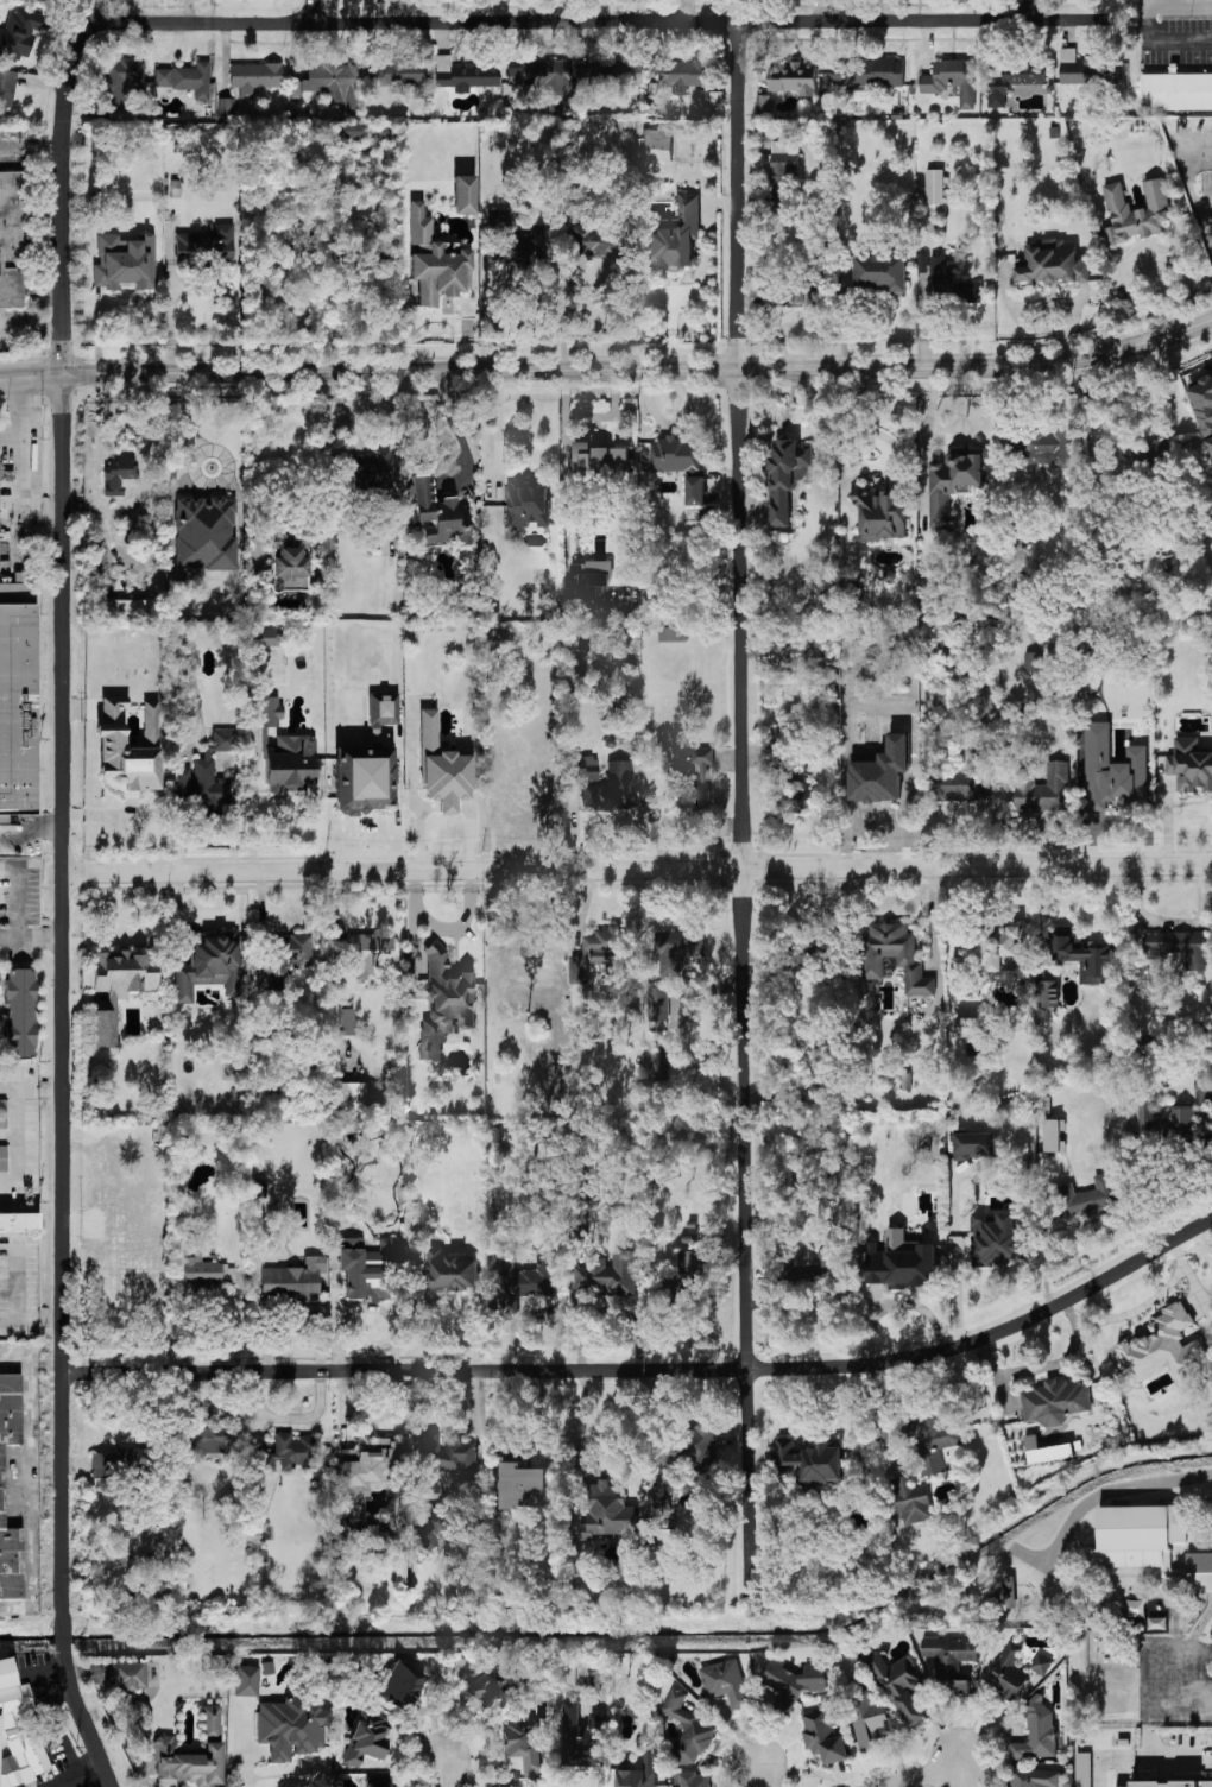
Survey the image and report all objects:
building: (40, 1)
road: (1172, 7)
road: (1035, 10)
road: (316, 11)
road: (611, 20)
road: (1172, 31)
building: (19, 33)
road: (1179, 51)
building: (1085, 69)
building: (867, 72)
building: (400, 75)
building: (465, 75)
building: (681, 75)
building: (610, 76)
building: (254, 77)
building: (794, 77)
building: (185, 80)
building: (952, 80)
building: (547, 81)
building: (122, 82)
building: (1014, 82)
building: (334, 83)
building: (7, 89)
building: (1176, 91)
building: (705, 101)
building: (226, 107)
building: (352, 132)
building: (657, 144)
road: (30, 145)
road: (1206, 149)
building: (782, 169)
building: (934, 185)
road: (1192, 192)
building: (462, 195)
road: (1202, 197)
building: (1135, 211)
building: (674, 234)
building: (535, 238)
building: (12, 240)
building: (591, 241)
building: (222, 244)
building: (187, 246)
building: (280, 259)
building: (435, 261)
building: (1053, 261)
building: (124, 263)
building: (880, 271)
road: (204, 285)
building: (790, 293)
road: (1020, 308)
road: (495, 317)
road: (564, 317)
road: (1208, 328)
road: (32, 329)
road: (608, 371)
building: (1202, 402)
road: (673, 421)
road: (926, 425)
road: (189, 429)
road: (455, 429)
road: (13, 438)
parking lot: (5, 441)
building: (1208, 444)
building: (1044, 447)
building: (1151, 450)
building: (675, 454)
building: (599, 456)
road: (26, 459)
building: (370, 468)
building: (118, 475)
building: (785, 476)
building: (952, 481)
building: (695, 490)
building: (526, 505)
building: (437, 514)
building: (880, 514)
building: (204, 533)
building: (286, 567)
building: (825, 586)
building: (14, 595)
building: (125, 608)
building: (671, 632)
building: (1135, 636)
building: (266, 638)
building: (818, 646)
building: (1033, 661)
building: (15, 712)
building: (271, 712)
building: (111, 727)
building: (290, 763)
building: (1189, 765)
building: (442, 768)
building: (880, 771)
building: (1112, 771)
building: (206, 777)
building: (957, 777)
building: (362, 779)
building: (694, 782)
building: (619, 783)
building: (787, 787)
building: (1042, 788)
road: (64, 804)
road: (447, 804)
road: (428, 806)
road: (745, 806)
road: (416, 807)
road: (471, 831)
road: (32, 832)
parking lot: (20, 847)
road: (638, 867)
road: (19, 917)
road: (1074, 921)
building: (1000, 946)
building: (1179, 946)
building: (298, 949)
building: (675, 951)
building: (368, 953)
building: (598, 953)
building: (790, 953)
building: (895, 954)
building: (1082, 954)
building: (965, 955)
building: (208, 967)
building: (270, 978)
building: (119, 987)
building: (1049, 992)
building: (443, 1002)
building: (657, 1003)
building: (19, 1014)
building: (346, 1022)
building: (967, 1027)
building: (657, 1062)
building: (1202, 1087)
road: (32, 1088)
building: (349, 1098)
building: (2, 1114)
building: (1181, 1116)
road: (20, 1123)
building: (1053, 1135)
building: (974, 1144)
building: (2, 1158)
road: (19, 1168)
building: (1086, 1196)
building: (19, 1221)
building: (995, 1238)
building: (901, 1261)
building: (808, 1264)
building: (368, 1270)
building: (206, 1273)
building: (608, 1273)
building: (446, 1275)
building: (526, 1276)
building: (683, 1277)
building: (292, 1281)
road: (895, 1305)
road: (32, 1318)
building: (1163, 1347)
road: (654, 1368)
road: (1046, 1370)
building: (1055, 1401)
road: (879, 1413)
road: (585, 1422)
road: (813, 1428)
building: (934, 1439)
building: (206, 1441)
building: (694, 1442)
building: (1046, 1450)
building: (289, 1453)
building: (446, 1453)
building: (810, 1459)
building: (120, 1463)
building: (364, 1471)
building: (523, 1484)
building: (1, 1486)
road: (36, 1486)
building: (911, 1499)
road: (1098, 1499)
building: (430, 1527)
building: (1141, 1533)
building: (1200, 1572)
road: (1100, 1587)
building: (1004, 1591)
road: (64, 1633)
road: (1197, 1633)
road: (1175, 1634)
road: (1195, 1660)
building: (949, 1662)
building: (1041, 1663)
building: (474, 1667)
building: (266, 1668)
building: (1006, 1673)
building: (127, 1677)
building: (246, 1680)
building: (725, 1681)
building: (793, 1682)
building: (1135, 1685)
parking lot: (1173, 1685)
building: (400, 1686)
building: (901, 1686)
building: (486, 1693)
road: (1179, 1704)
road: (948, 1712)
building: (866, 1718)
road: (84, 1719)
building: (210, 1720)
building: (290, 1728)
building: (688, 1730)
building: (825, 1731)
building: (1036, 1731)
building: (18, 1732)
building: (582, 1737)
building: (366, 1741)
building: (523, 1744)
road: (1147, 1747)
road: (246, 1748)
parking lot: (1194, 1748)
road: (1173, 1758)
road: (1103, 1760)
building: (187, 1763)
road: (446, 1764)
building: (1082, 1769)
road: (764, 1775)
road: (928, 1775)
building: (635, 1777)
building: (1033, 1777)
building: (1168, 1777)
building: (696, 1779)
building: (1206, 1781)
building: (377, 1782)
building: (505, 1786)

